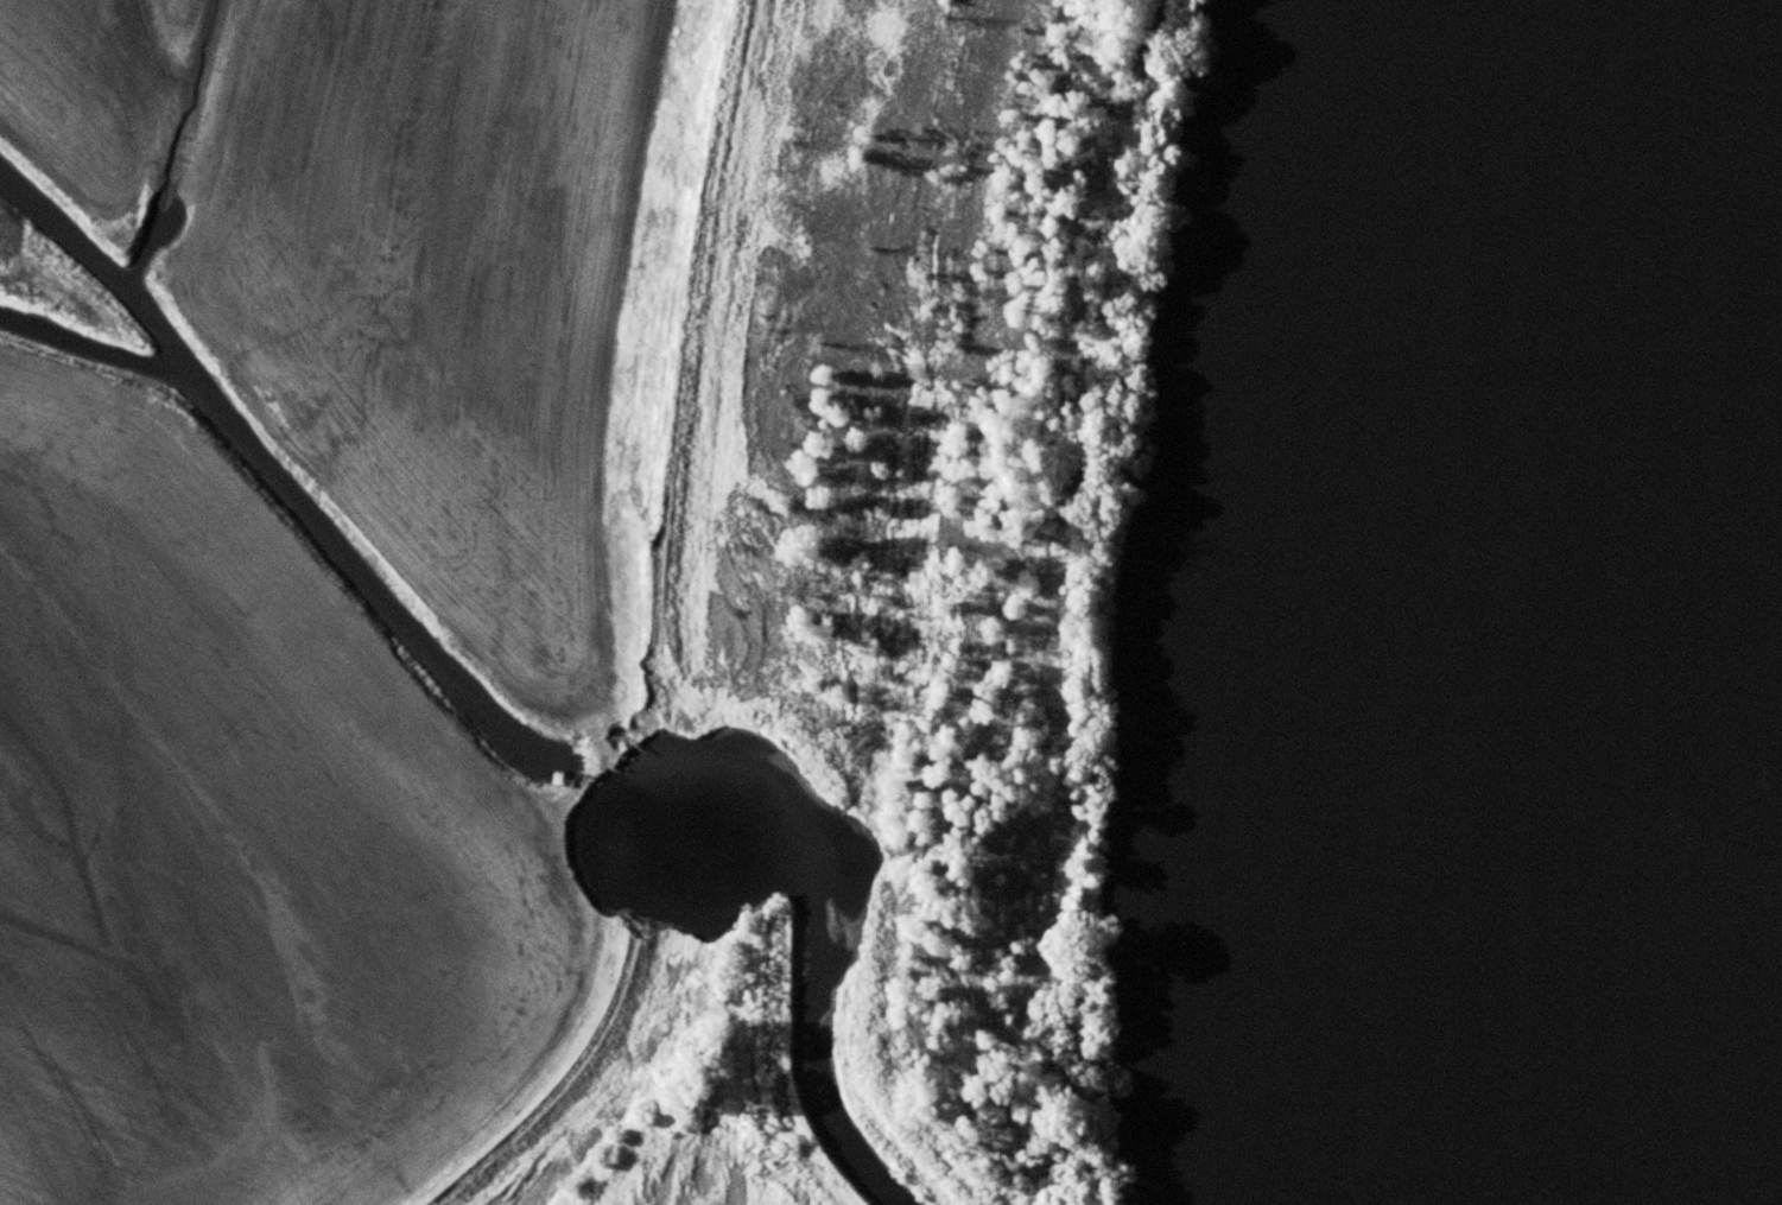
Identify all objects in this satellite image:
river: (1546, 603)
road: (742, 660)

